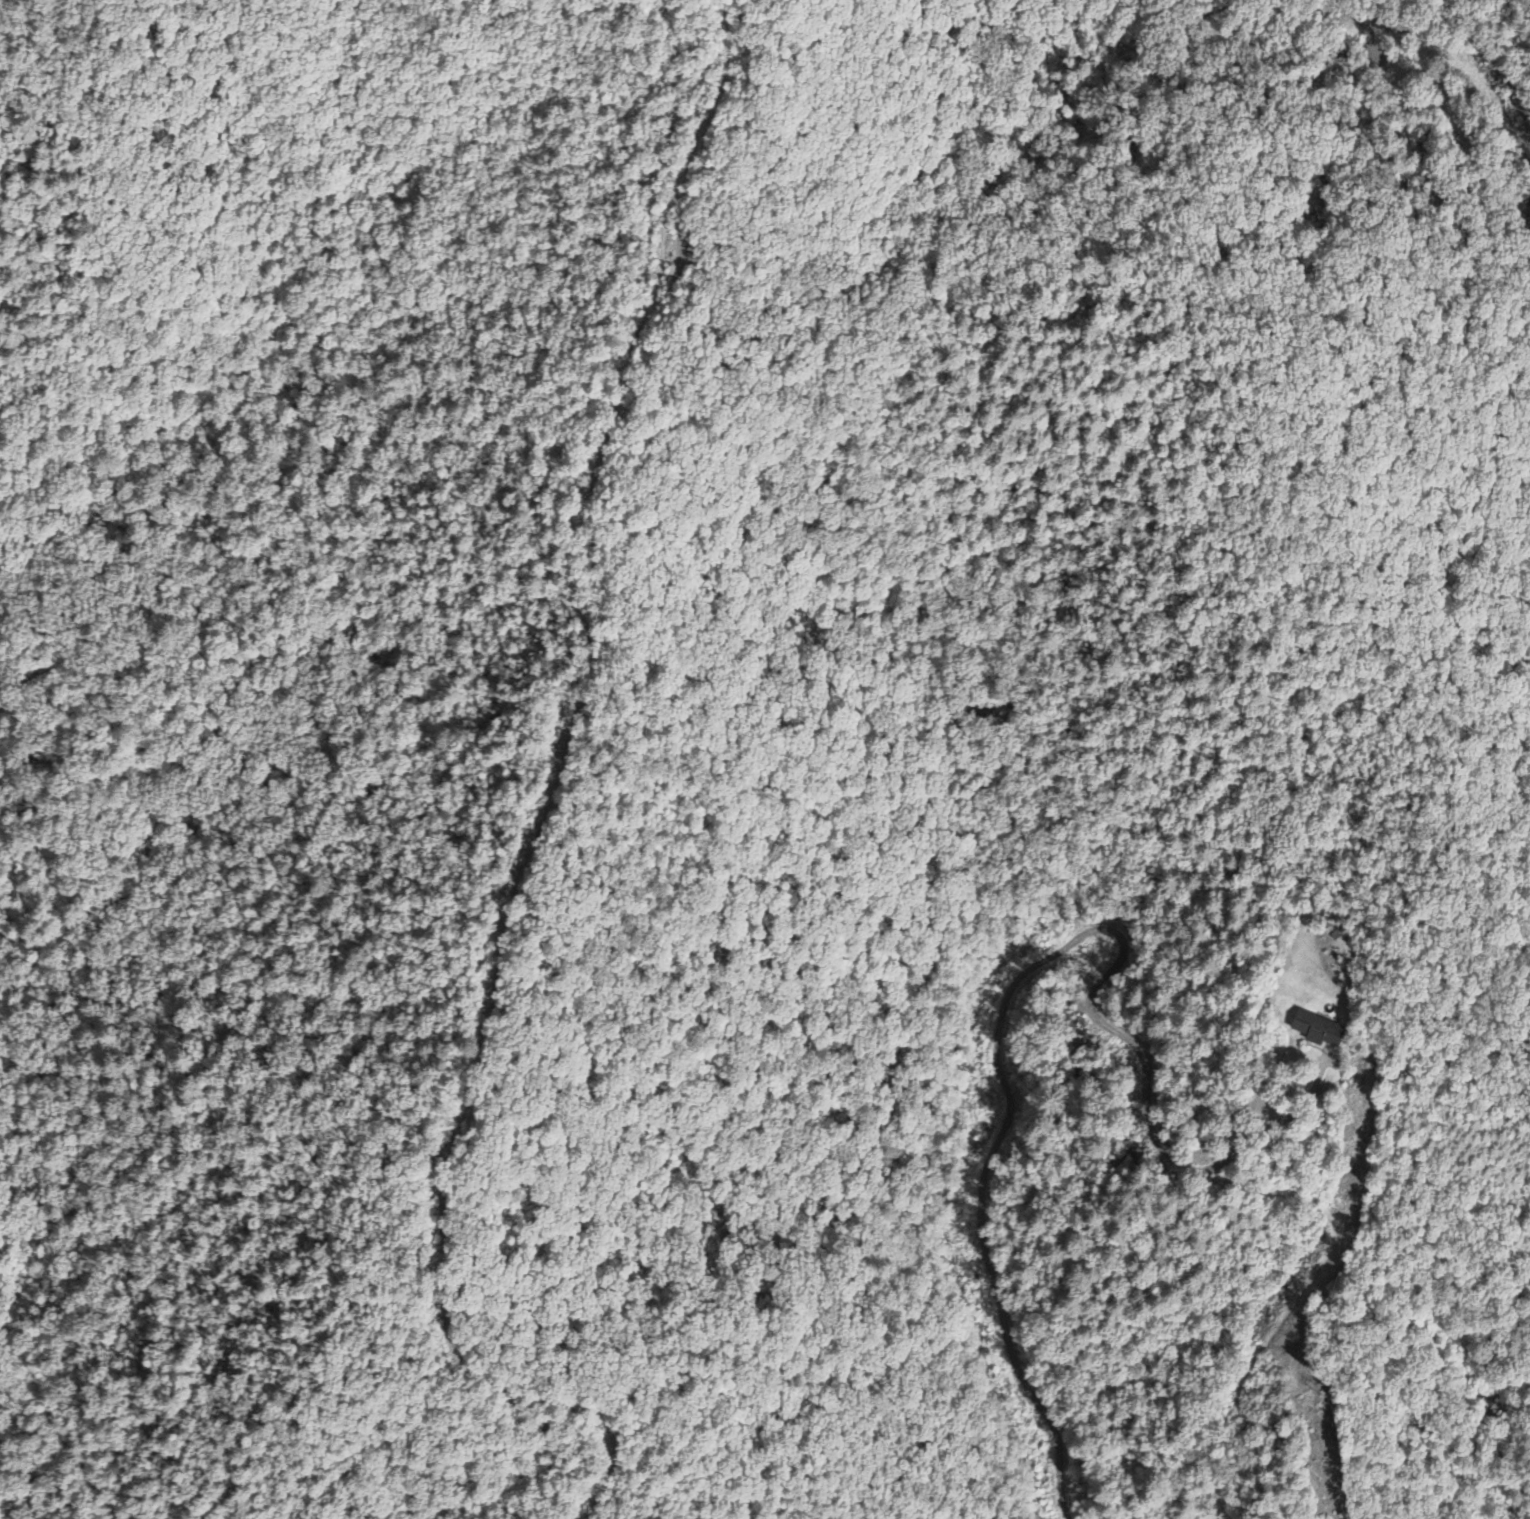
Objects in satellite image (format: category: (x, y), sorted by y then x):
building: (1317, 1030)

